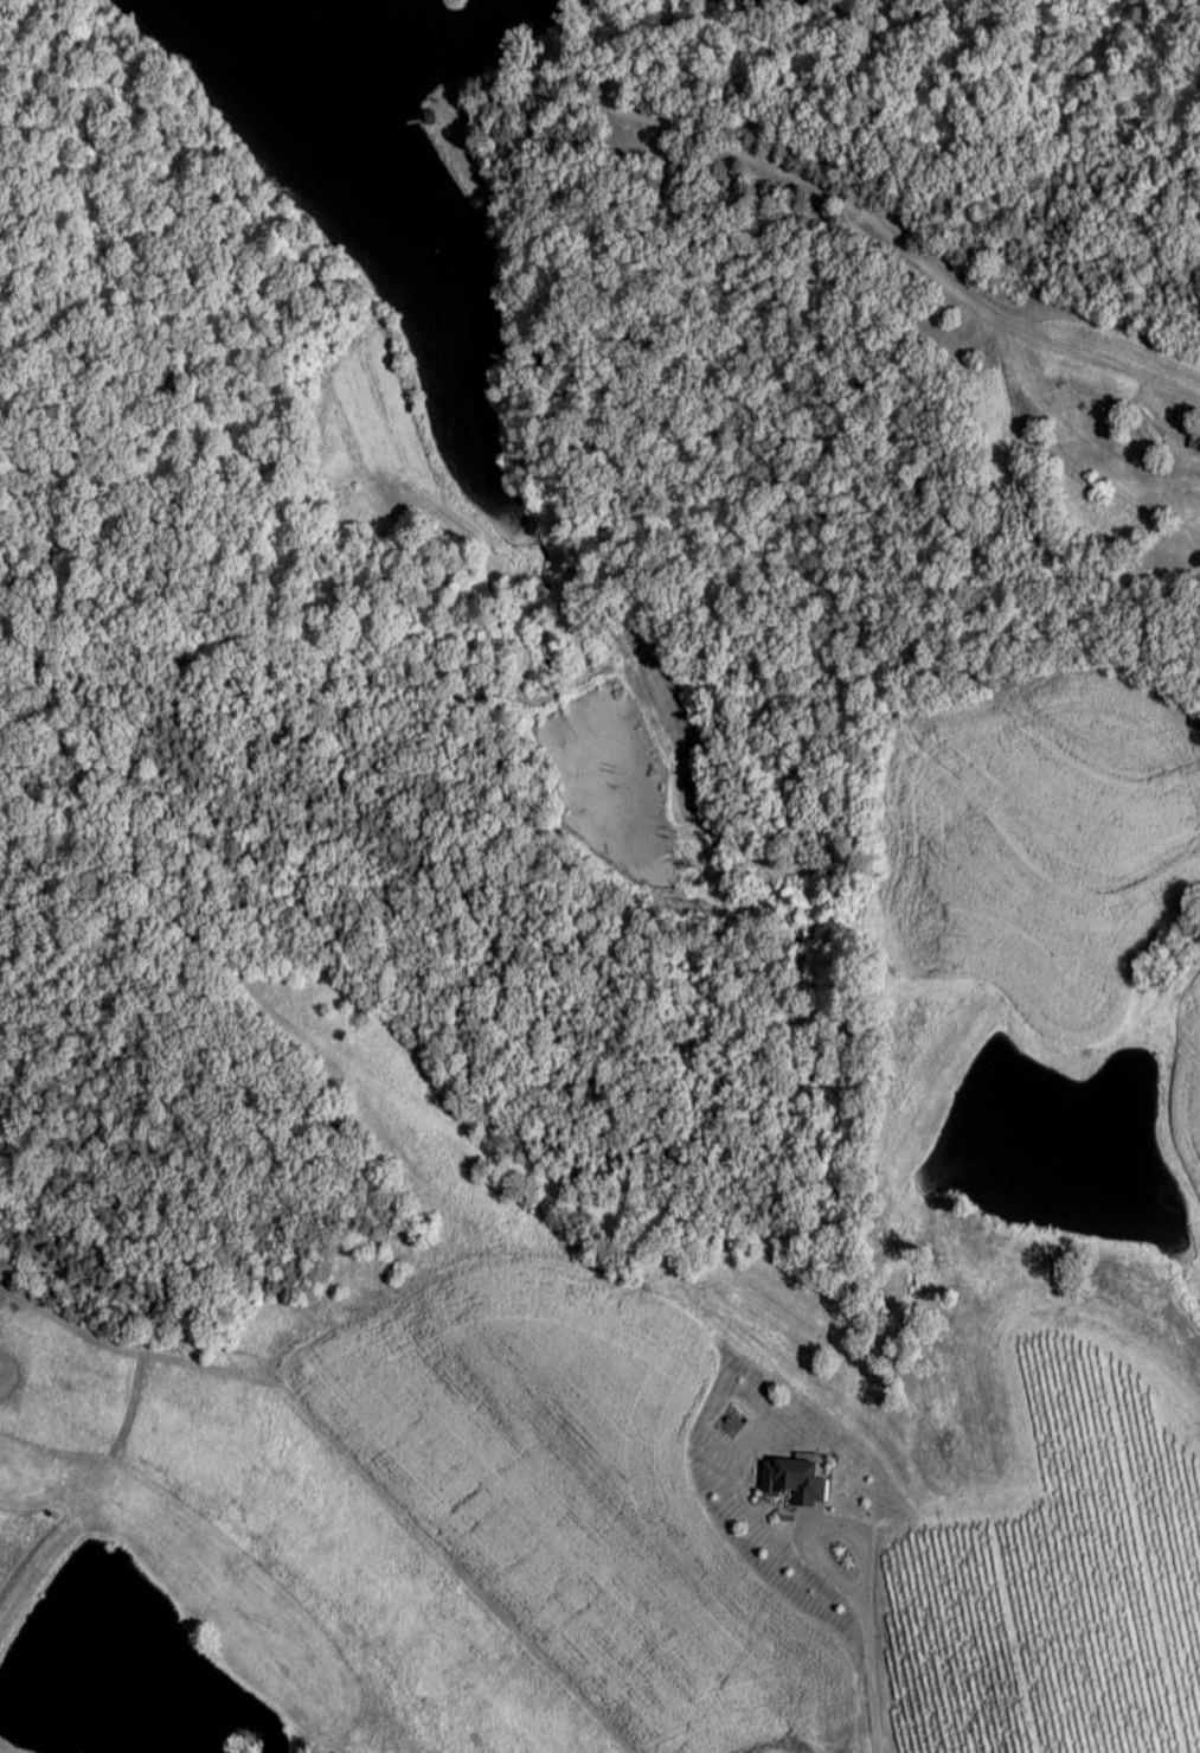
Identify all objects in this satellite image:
building: (1195, 442)
building: (796, 1484)

